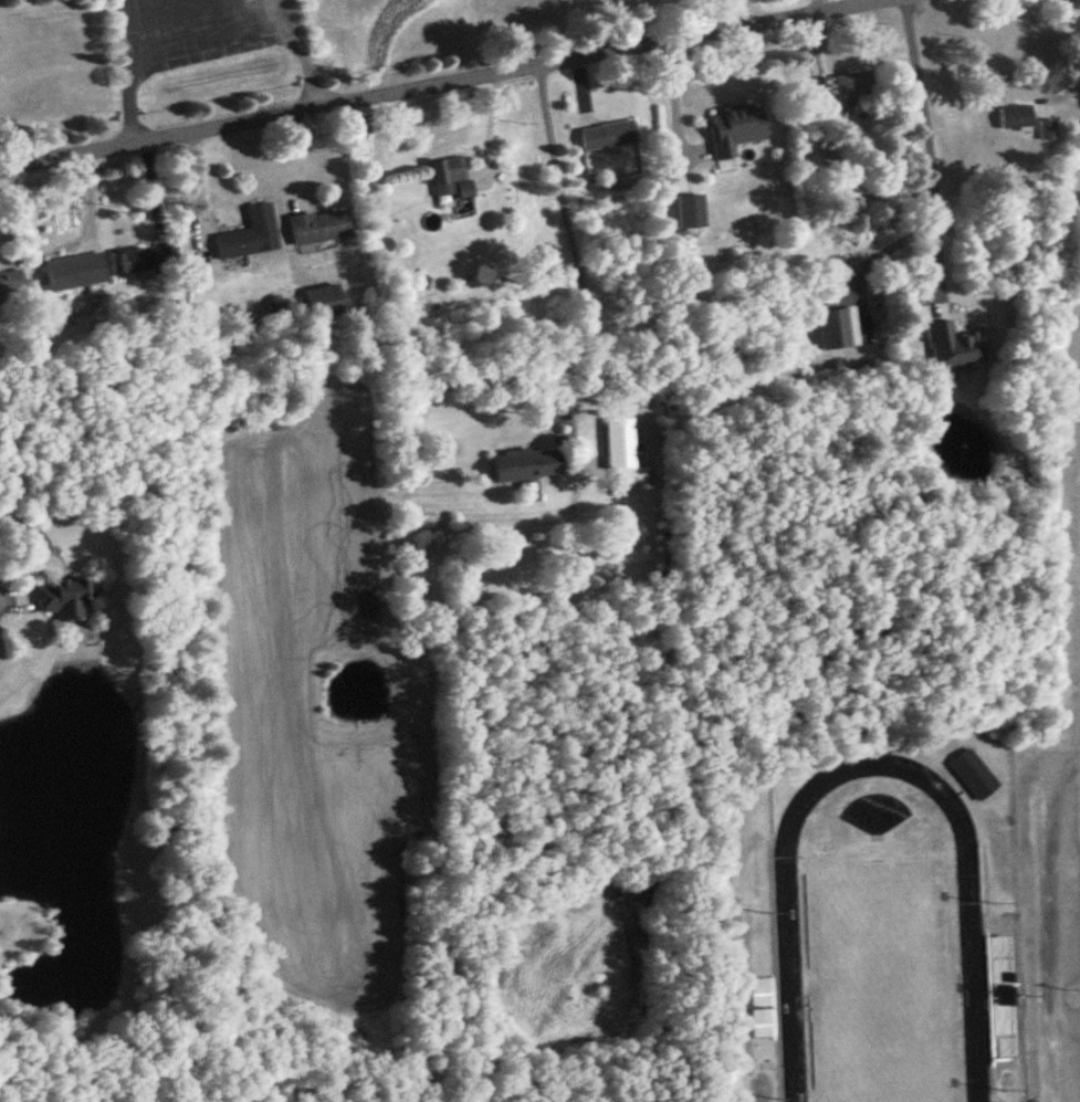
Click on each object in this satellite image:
park: (23, 4)
road: (780, 18)
road: (126, 72)
building: (854, 85)
road: (1057, 92)
road: (349, 102)
building: (1016, 118)
building: (736, 129)
building: (608, 136)
road: (922, 140)
building: (452, 175)
building: (319, 228)
building: (250, 234)
road: (573, 240)
building: (149, 259)
building: (75, 273)
building: (12, 284)
building: (324, 302)
building: (953, 347)
building: (623, 453)
building: (527, 465)
building: (64, 598)
building: (974, 776)
building: (999, 972)
track: (790, 986)
building: (763, 1009)

